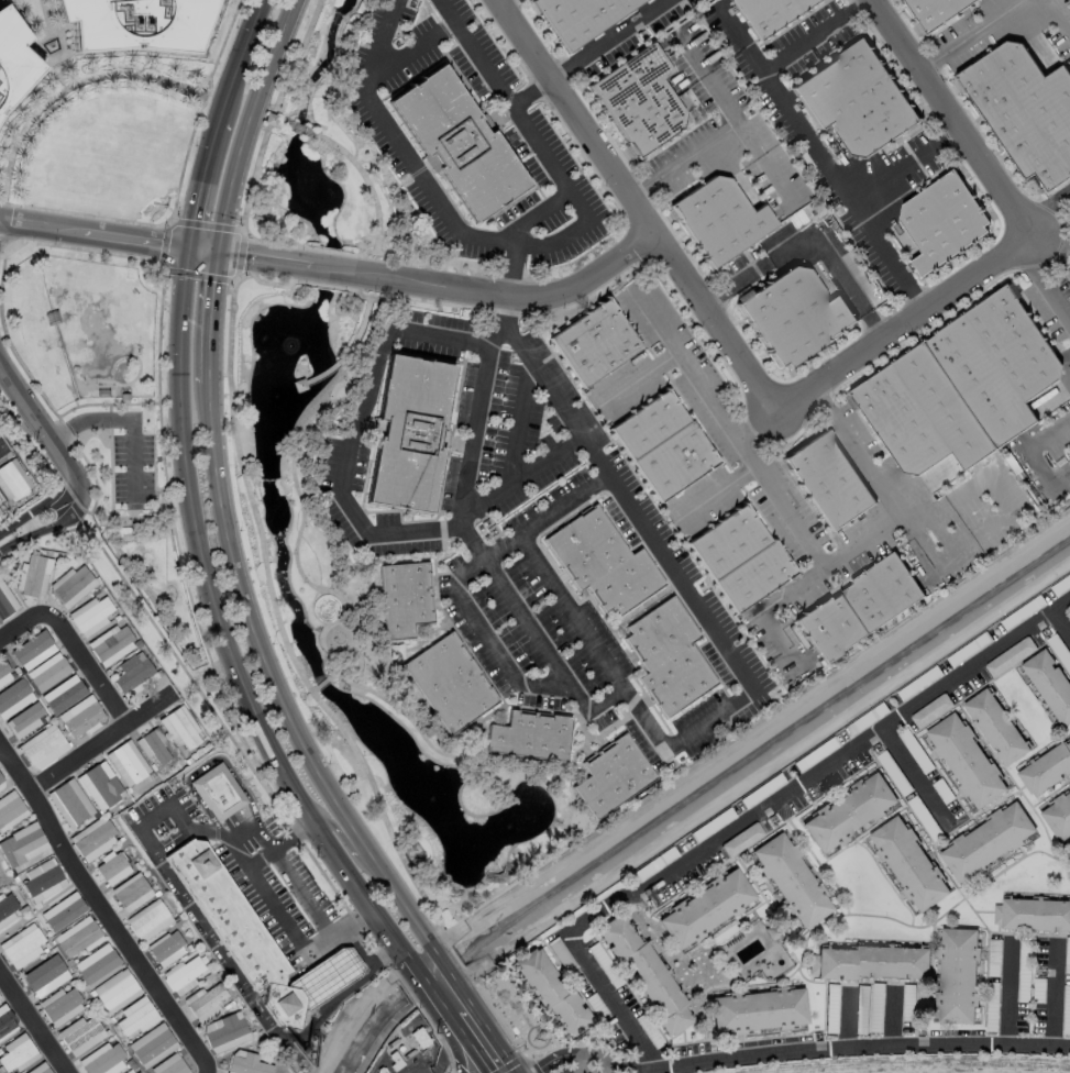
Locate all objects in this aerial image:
parking lot: (0, 0)
road: (506, 3)
building: (940, 10)
building: (771, 14)
road: (1058, 15)
building: (583, 18)
building: (139, 25)
road: (814, 36)
road: (971, 36)
road: (65, 37)
road: (614, 41)
road: (36, 45)
fountain: (49, 45)
road: (241, 56)
road: (406, 57)
building: (14, 63)
road: (69, 87)
road: (529, 96)
building: (642, 102)
building: (860, 102)
road: (274, 111)
building: (1026, 111)
road: (948, 119)
road: (245, 122)
road: (282, 122)
road: (304, 130)
road: (721, 136)
building: (459, 144)
road: (824, 162)
road: (758, 169)
road: (906, 170)
road: (198, 179)
road: (368, 188)
road: (633, 208)
road: (1046, 213)
road: (533, 215)
building: (721, 221)
building: (944, 223)
road: (150, 224)
road: (203, 224)
road: (132, 239)
road: (272, 239)
road: (808, 242)
road: (1050, 242)
road: (163, 244)
road: (527, 244)
traffic signals: (186, 247)
traffic signals: (216, 252)
road: (332, 252)
road: (239, 254)
road: (335, 270)
road: (512, 270)
road: (197, 274)
road: (273, 283)
road: (1046, 285)
road: (329, 286)
road: (538, 299)
building: (51, 317)
road: (208, 317)
building: (796, 318)
road: (903, 327)
building: (596, 343)
road: (156, 351)
road: (341, 362)
road: (320, 376)
road: (640, 378)
road: (130, 379)
building: (300, 385)
road: (699, 386)
building: (101, 391)
building: (967, 391)
building: (123, 396)
road: (71, 400)
road: (122, 401)
road: (124, 419)
park: (114, 428)
road: (519, 428)
road: (38, 429)
building: (412, 435)
building: (665, 446)
road: (1, 453)
road: (1034, 454)
road: (82, 458)
road: (108, 460)
parking lot: (131, 471)
building: (12, 480)
building: (831, 483)
road: (891, 491)
road: (717, 495)
road: (348, 497)
building: (1, 509)
building: (0, 512)
road: (38, 516)
road: (133, 516)
road: (547, 516)
road: (1002, 520)
road: (147, 536)
road: (118, 551)
building: (742, 560)
road: (813, 561)
building: (604, 563)
building: (35, 576)
road: (311, 584)
building: (74, 585)
road: (186, 593)
building: (402, 598)
building: (5, 602)
building: (862, 609)
building: (92, 615)
road: (572, 617)
road: (278, 620)
road: (1063, 624)
road: (219, 631)
road: (487, 639)
building: (108, 640)
building: (31, 648)
building: (1011, 655)
building: (670, 659)
building: (3, 672)
road: (337, 672)
building: (47, 673)
building: (133, 675)
building: (1050, 682)
building: (446, 683)
road: (321, 684)
road: (277, 685)
building: (64, 694)
road: (106, 694)
building: (13, 697)
road: (146, 709)
building: (933, 709)
building: (81, 718)
building: (23, 720)
building: (996, 726)
building: (181, 730)
building: (528, 735)
road: (686, 741)
building: (42, 746)
building: (155, 748)
building: (967, 759)
building: (128, 763)
road: (207, 764)
road: (14, 768)
building: (1047, 768)
building: (609, 776)
road: (917, 776)
building: (1, 782)
building: (102, 786)
building: (218, 792)
building: (8, 800)
building: (69, 805)
building: (850, 811)
road: (755, 812)
building: (1059, 816)
building: (93, 839)
building: (741, 839)
building: (988, 839)
building: (21, 841)
road: (346, 843)
road: (240, 854)
building: (909, 861)
road: (163, 865)
building: (112, 867)
building: (791, 878)
building: (42, 881)
building: (0, 882)
building: (131, 893)
road: (304, 893)
building: (8, 907)
building: (706, 908)
building: (63, 911)
building: (1036, 912)
road: (280, 916)
building: (148, 920)
building: (773, 931)
road: (117, 932)
building: (18, 936)
building: (255, 938)
building: (78, 939)
building: (167, 948)
building: (561, 954)
building: (994, 958)
road: (369, 959)
building: (870, 960)
road: (309, 961)
building: (97, 963)
building: (41, 973)
building: (185, 974)
building: (959, 974)
building: (647, 975)
road: (321, 980)
road: (440, 984)
building: (110, 985)
building: (553, 992)
road: (1010, 996)
road: (332, 998)
building: (57, 999)
building: (207, 1000)
road: (1054, 1000)
road: (330, 1004)
building: (760, 1011)
building: (2, 1013)
building: (134, 1019)
road: (893, 1020)
road: (32, 1021)
road: (848, 1021)
building: (225, 1031)
building: (79, 1032)
road: (460, 1041)
road: (479, 1041)
building: (152, 1046)
building: (16, 1052)
road: (836, 1052)
building: (102, 1060)
building: (249, 1063)
building: (176, 1068)
building: (46, 1071)
building: (130, 1071)

